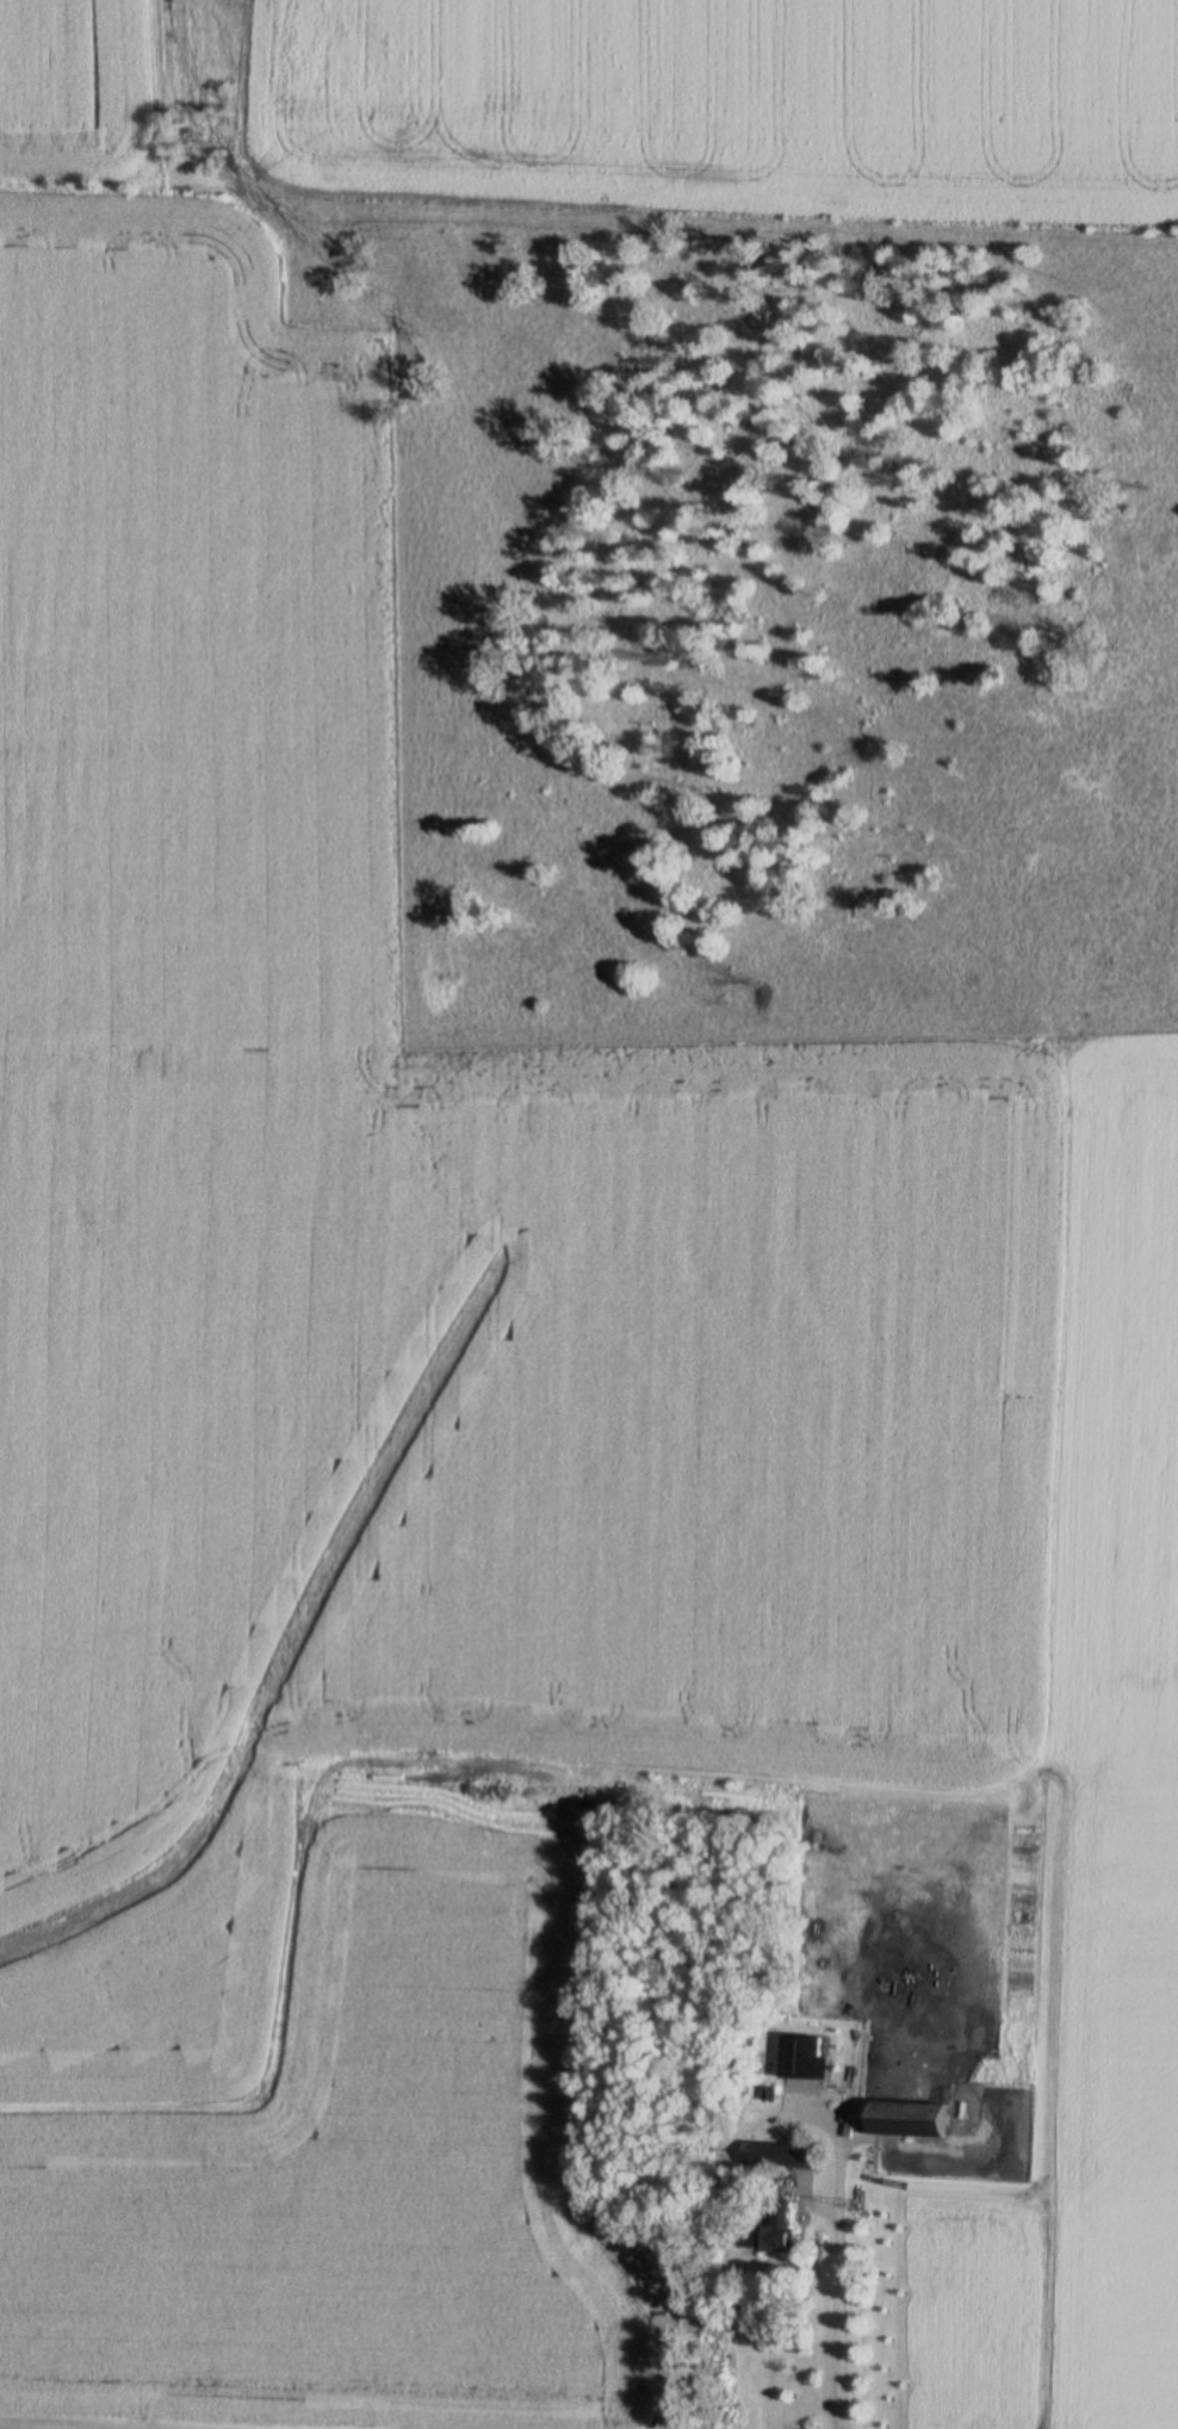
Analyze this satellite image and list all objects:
building: (906, 2119)
building: (776, 2155)
building: (775, 2230)

